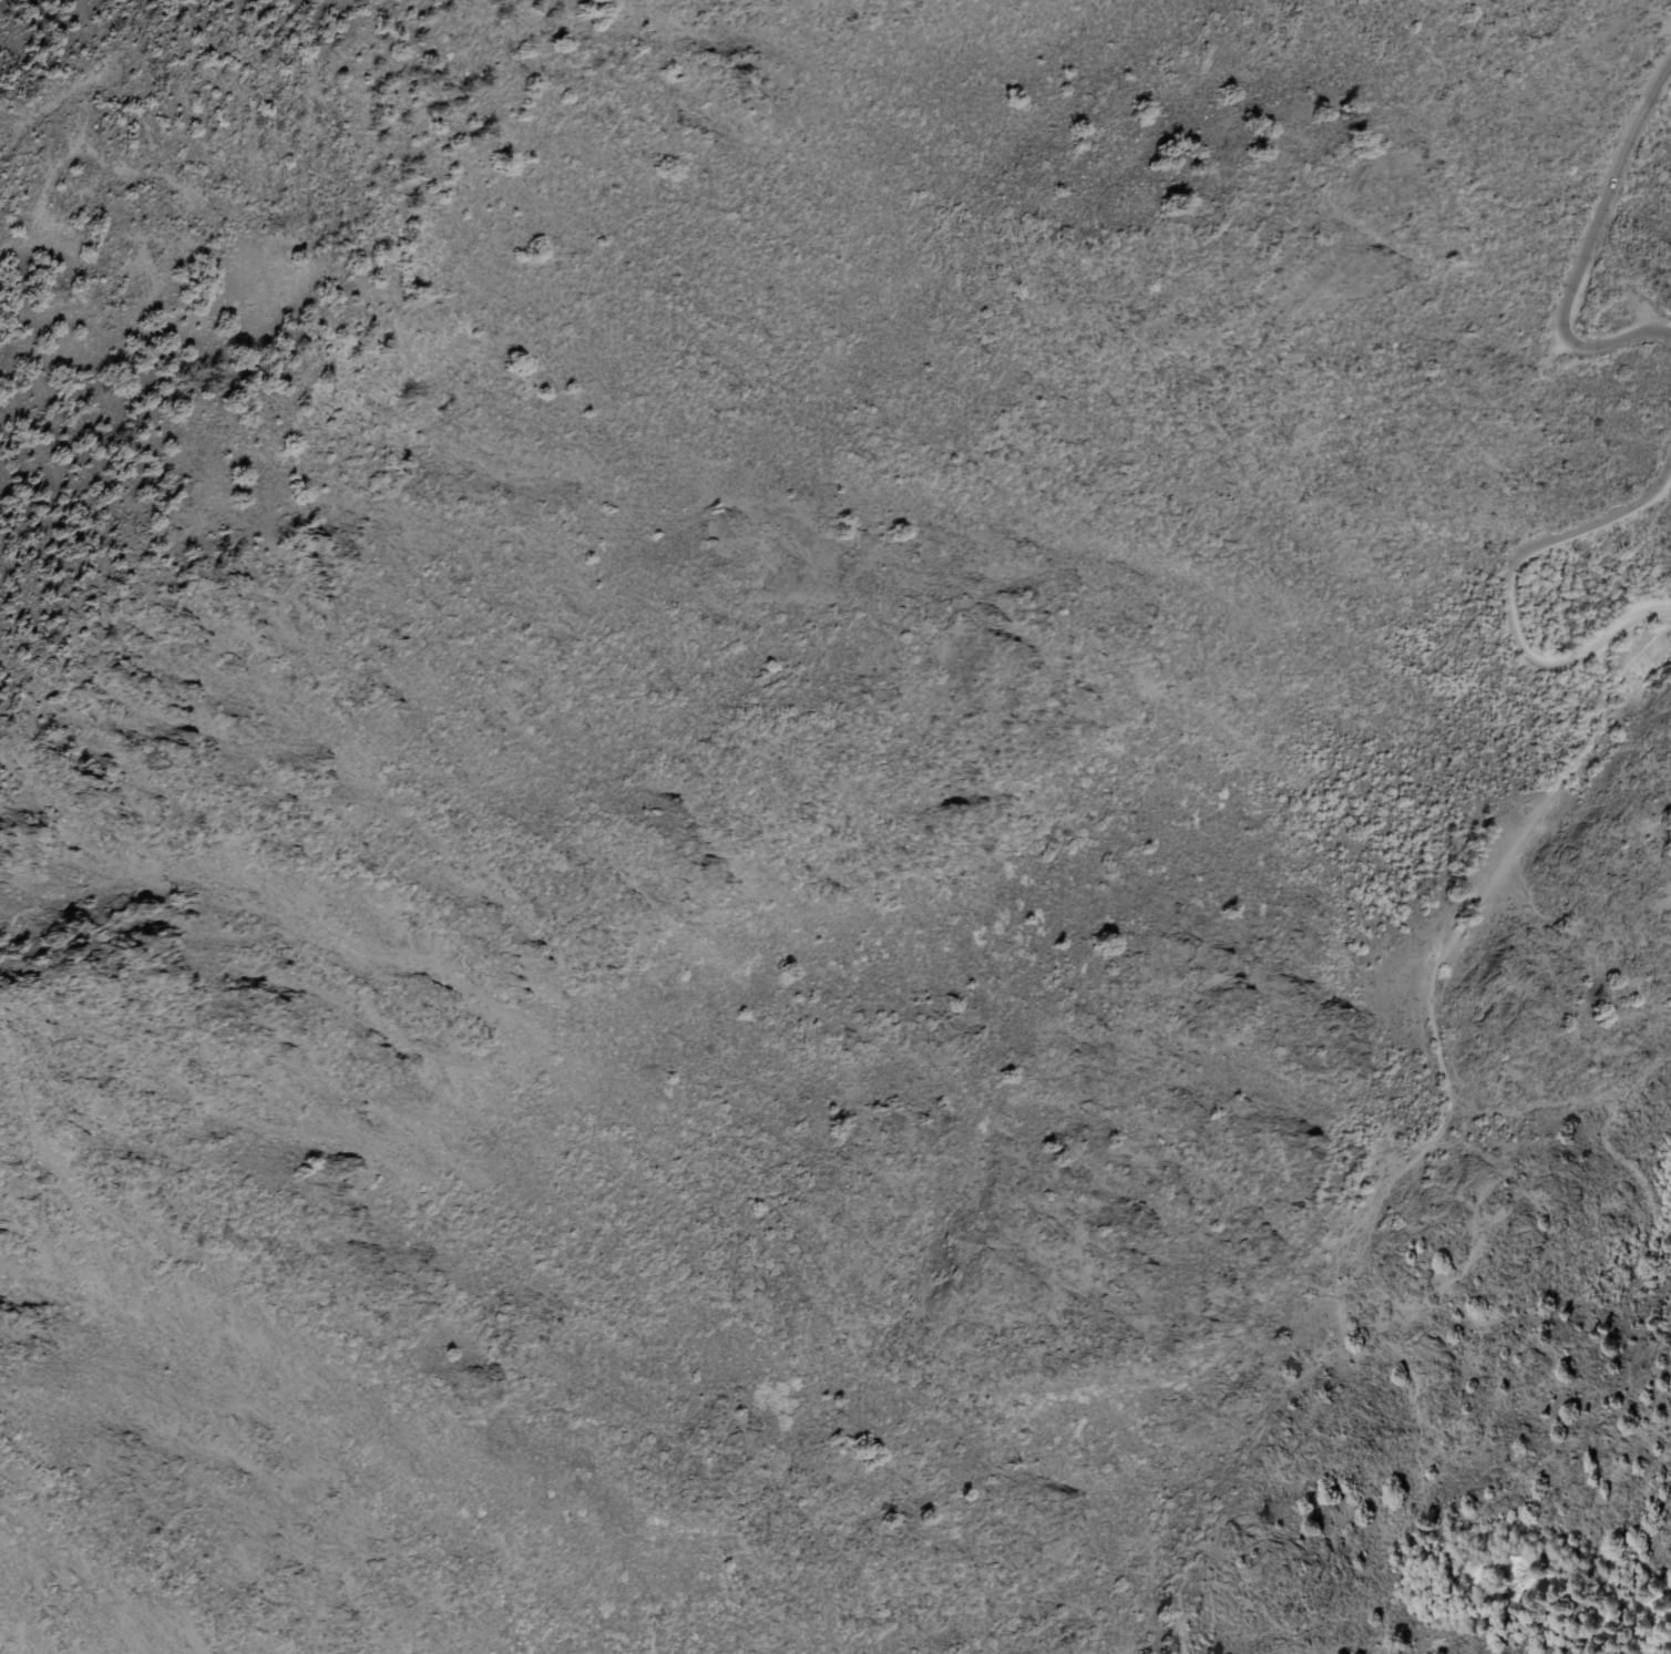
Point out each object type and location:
road: (1587, 256)
road: (1511, 592)
road: (1458, 931)
road: (1245, 1424)

